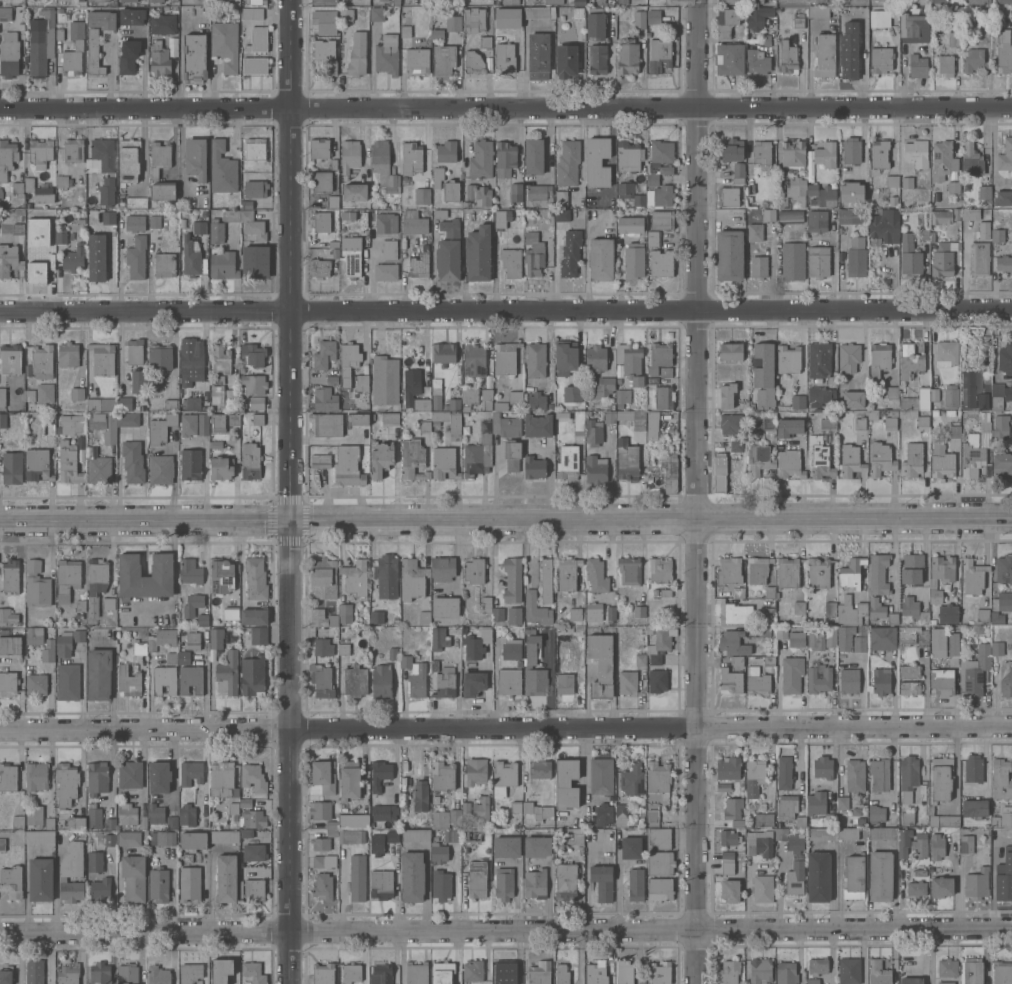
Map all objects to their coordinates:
building: (98, 0)
building: (127, 0)
building: (173, 0)
building: (383, 0)
building: (530, 0)
building: (157, 1)
building: (553, 1)
building: (729, 1)
building: (754, 1)
building: (813, 1)
building: (949, 1)
building: (1005, 1)
building: (233, 2)
building: (257, 2)
building: (324, 2)
building: (396, 2)
building: (510, 2)
building: (599, 2)
building: (622, 2)
building: (889, 2)
building: (916, 2)
building: (979, 2)
building: (60, 10)
building: (536, 12)
building: (577, 12)
building: (818, 12)
building: (895, 12)
building: (251, 13)
building: (5, 14)
building: (376, 14)
building: (507, 14)
building: (346, 15)
building: (131, 16)
building: (324, 16)
building: (982, 16)
building: (653, 17)
building: (755, 17)
building: (101, 19)
building: (473, 19)
building: (880, 19)
building: (639, 20)
building: (726, 22)
building: (798, 23)
building: (860, 23)
building: (163, 24)
building: (453, 24)
building: (595, 25)
building: (914, 25)
building: (33, 27)
building: (405, 31)
building: (59, 34)
building: (437, 34)
building: (769, 39)
building: (953, 39)
building: (257, 40)
building: (485, 42)
building: (78, 45)
building: (224, 45)
building: (41, 46)
building: (1004, 51)
building: (94, 53)
building: (9, 54)
building: (357, 55)
building: (386, 55)
building: (537, 55)
building: (824, 55)
building: (325, 56)
building: (659, 56)
building: (128, 57)
building: (627, 57)
building: (852, 57)
building: (193, 58)
building: (787, 58)
building: (159, 59)
building: (504, 59)
building: (597, 59)
building: (730, 59)
building: (880, 60)
building: (975, 60)
building: (417, 61)
building: (443, 61)
building: (566, 61)
building: (473, 63)
building: (756, 63)
building: (946, 65)
building: (254, 66)
building: (918, 66)
road: (506, 110)
building: (254, 149)
building: (319, 149)
building: (72, 150)
building: (732, 150)
building: (851, 150)
building: (761, 151)
building: (447, 152)
building: (661, 152)
building: (40, 153)
building: (103, 153)
building: (916, 153)
building: (793, 154)
building: (880, 154)
building: (825, 155)
building: (1005, 155)
building: (350, 156)
building: (534, 156)
building: (159, 157)
building: (629, 157)
building: (6, 158)
building: (195, 158)
building: (411, 159)
building: (505, 159)
building: (971, 159)
building: (127, 160)
building: (481, 160)
building: (942, 160)
building: (597, 162)
building: (334, 164)
building: (384, 166)
building: (246, 167)
building: (221, 169)
building: (666, 170)
building: (738, 170)
building: (566, 171)
building: (437, 177)
building: (653, 180)
building: (738, 180)
building: (62, 181)
building: (892, 181)
building: (905, 181)
building: (322, 182)
building: (29, 185)
building: (17, 187)
building: (954, 187)
building: (255, 188)
building: (780, 190)
building: (107, 191)
building: (451, 191)
building: (797, 191)
building: (162, 192)
building: (355, 192)
building: (516, 192)
building: (851, 193)
building: (985, 193)
building: (43, 194)
building: (630, 194)
building: (479, 195)
building: (540, 195)
building: (422, 196)
building: (663, 196)
building: (822, 196)
building: (729, 197)
building: (1002, 197)
building: (4, 200)
building: (893, 201)
building: (135, 202)
building: (332, 202)
building: (782, 203)
building: (28, 204)
building: (246, 204)
building: (28, 212)
building: (203, 214)
building: (440, 214)
building: (956, 214)
building: (970, 214)
building: (561, 215)
building: (768, 215)
building: (790, 216)
building: (941, 216)
building: (48, 217)
building: (108, 217)
building: (849, 217)
building: (987, 217)
building: (185, 218)
building: (502, 219)
building: (662, 220)
building: (154, 221)
building: (321, 222)
building: (135, 223)
building: (220, 223)
building: (386, 223)
building: (413, 223)
building: (817, 224)
building: (252, 225)
building: (630, 225)
building: (885, 226)
building: (198, 227)
building: (18, 228)
building: (984, 229)
building: (755, 233)
building: (923, 233)
building: (998, 235)
building: (61, 236)
building: (653, 239)
building: (333, 244)
building: (389, 249)
building: (449, 251)
building: (335, 254)
building: (478, 254)
building: (570, 254)
building: (533, 255)
building: (730, 256)
building: (910, 256)
building: (97, 257)
building: (136, 257)
building: (856, 257)
building: (192, 258)
building: (944, 258)
building: (980, 258)
building: (601, 259)
building: (9, 260)
building: (36, 260)
building: (73, 260)
building: (633, 261)
building: (792, 261)
building: (254, 262)
building: (511, 262)
building: (818, 262)
building: (420, 263)
building: (1004, 263)
building: (222, 264)
building: (352, 264)
building: (661, 264)
building: (164, 265)
building: (759, 268)
building: (319, 269)
building: (385, 272)
road: (506, 310)
building: (731, 351)
building: (135, 352)
building: (443, 353)
building: (947, 353)
building: (253, 354)
building: (323, 354)
building: (68, 355)
building: (565, 356)
building: (659, 356)
building: (160, 358)
building: (505, 358)
building: (849, 358)
building: (880, 358)
building: (1006, 358)
building: (10, 359)
building: (103, 359)
building: (220, 359)
building: (535, 359)
building: (788, 359)
building: (191, 360)
building: (474, 360)
building: (595, 360)
building: (819, 360)
building: (909, 360)
building: (42, 361)
building: (348, 361)
building: (630, 362)
building: (242, 370)
building: (665, 372)
building: (763, 375)
building: (332, 379)
building: (217, 380)
building: (385, 380)
building: (618, 380)
building: (652, 380)
building: (411, 381)
building: (136, 382)
building: (362, 382)
building: (252, 384)
building: (602, 387)
building: (975, 391)
building: (892, 392)
building: (45, 393)
building: (78, 393)
building: (571, 393)
building: (470, 394)
building: (30, 395)
building: (216, 395)
building: (623, 395)
building: (727, 395)
building: (935, 395)
building: (1008, 395)
building: (820, 396)
building: (997, 396)
building: (2, 397)
building: (515, 397)
building: (664, 397)
building: (951, 397)
building: (231, 398)
building: (436, 398)
building: (486, 398)
building: (324, 399)
building: (853, 399)
building: (922, 399)
building: (536, 401)
building: (192, 402)
building: (798, 402)
building: (125, 403)
building: (256, 403)
building: (102, 404)
building: (421, 404)
building: (452, 404)
building: (170, 405)
building: (500, 406)
building: (373, 408)
building: (392, 408)
building: (588, 413)
building: (894, 413)
building: (935, 413)
building: (953, 413)
building: (872, 414)
building: (609, 416)
building: (377, 417)
building: (358, 418)
building: (390, 418)
building: (633, 418)
building: (128, 419)
building: (233, 419)
building: (256, 419)
building: (3, 420)
building: (98, 421)
building: (49, 422)
building: (74, 422)
building: (217, 422)
building: (578, 422)
building: (765, 422)
building: (922, 422)
building: (731, 423)
building: (828, 423)
building: (202, 424)
building: (325, 424)
building: (506, 424)
building: (859, 424)
building: (890, 424)
building: (187, 425)
building: (537, 425)
building: (652, 425)
building: (424, 426)
building: (789, 427)
building: (1001, 427)
building: (160, 428)
building: (110, 429)
building: (59, 430)
building: (985, 430)
building: (455, 432)
building: (593, 432)
building: (954, 432)
building: (81, 442)
building: (215, 445)
building: (736, 446)
building: (666, 448)
building: (478, 452)
building: (511, 454)
building: (820, 458)
building: (380, 459)
building: (412, 459)
building: (626, 459)
building: (759, 459)
building: (881, 459)
building: (320, 460)
building: (913, 460)
building: (249, 461)
building: (850, 461)
building: (942, 461)
building: (974, 461)
building: (68, 462)
building: (132, 462)
building: (443, 462)
building: (567, 463)
building: (37, 464)
building: (189, 464)
building: (789, 464)
building: (1002, 464)
building: (348, 465)
road: (289, 466)
building: (533, 467)
building: (12, 468)
building: (220, 468)
building: (595, 468)
building: (160, 469)
building: (99, 470)
building: (669, 471)
building: (720, 472)
road: (174, 474)
road: (697, 491)
road: (505, 519)
building: (442, 568)
building: (943, 568)
building: (912, 569)
building: (1004, 569)
building: (758, 570)
building: (189, 571)
building: (473, 571)
building: (628, 571)
building: (660, 571)
building: (729, 571)
building: (567, 573)
building: (788, 573)
building: (818, 573)
building: (851, 574)
building: (11, 575)
building: (878, 575)
building: (97, 576)
building: (145, 576)
building: (222, 576)
building: (596, 576)
building: (386, 577)
building: (973, 577)
building: (255, 578)
building: (354, 578)
building: (67, 579)
building: (323, 579)
building: (412, 579)
building: (511, 580)
building: (545, 580)
building: (36, 585)
building: (768, 591)
building: (662, 592)
building: (738, 593)
building: (935, 593)
building: (1002, 602)
building: (109, 603)
building: (485, 604)
building: (191, 605)
building: (80, 606)
building: (445, 608)
building: (798, 608)
building: (536, 609)
building: (830, 610)
building: (876, 610)
building: (594, 611)
building: (638, 611)
building: (913, 611)
building: (345, 612)
building: (850, 612)
building: (230, 613)
building: (610, 613)
building: (498, 614)
building: (735, 614)
building: (948, 614)
building: (574, 615)
building: (983, 615)
building: (253, 616)
building: (513, 616)
building: (7, 617)
building: (376, 617)
building: (321, 618)
building: (423, 618)
building: (892, 618)
building: (997, 618)
building: (202, 620)
building: (648, 629)
building: (981, 629)
building: (529, 631)
building: (560, 631)
building: (672, 631)
building: (764, 632)
building: (332, 633)
building: (781, 633)
building: (34, 635)
building: (257, 635)
building: (79, 636)
building: (913, 636)
building: (830, 637)
building: (161, 638)
building: (215, 638)
building: (844, 638)
building: (438, 639)
building: (797, 639)
building: (882, 639)
building: (192, 641)
building: (815, 641)
building: (733, 643)
building: (64, 644)
building: (953, 644)
building: (859, 645)
building: (659, 646)
building: (10, 647)
building: (139, 647)
building: (322, 647)
building: (472, 648)
building: (344, 649)
building: (997, 649)
building: (510, 650)
building: (48, 651)
building: (392, 654)
building: (576, 656)
building: (171, 658)
building: (182, 658)
building: (639, 660)
building: (768, 661)
building: (737, 662)
building: (519, 663)
building: (600, 665)
building: (434, 666)
building: (533, 670)
building: (975, 671)
building: (909, 672)
building: (98, 674)
building: (791, 675)
building: (226, 676)
building: (252, 676)
building: (414, 676)
building: (819, 679)
building: (1006, 679)
building: (163, 680)
building: (190, 680)
building: (128, 681)
building: (321, 681)
building: (354, 681)
building: (656, 681)
building: (849, 681)
building: (881, 681)
building: (68, 682)
building: (380, 682)
building: (444, 682)
building: (507, 682)
building: (626, 682)
building: (730, 682)
building: (757, 682)
building: (942, 682)
building: (472, 683)
building: (564, 683)
building: (8, 684)
building: (36, 684)
building: (909, 688)
road: (505, 729)
building: (728, 768)
building: (823, 768)
building: (974, 768)
building: (540, 770)
building: (475, 771)
building: (190, 773)
building: (784, 773)
building: (131, 774)
building: (380, 775)
building: (880, 775)
building: (8, 776)
building: (323, 776)
building: (442, 776)
building: (855, 776)
building: (37, 777)
building: (159, 777)
building: (253, 777)
building: (601, 777)
building: (657, 777)
building: (755, 777)
building: (909, 777)
building: (98, 778)
building: (503, 778)
building: (942, 778)
building: (1001, 778)
building: (222, 780)
building: (349, 780)
building: (632, 780)
building: (67, 783)
building: (566, 784)
building: (724, 787)
building: (922, 792)
building: (420, 796)
building: (403, 800)
building: (816, 802)
building: (245, 803)
building: (842, 803)
building: (787, 806)
building: (232, 807)
building: (465, 807)
building: (480, 807)
building: (516, 807)
building: (733, 808)
building: (975, 808)
building: (319, 810)
building: (538, 811)
building: (384, 812)
building: (155, 813)
building: (128, 814)
building: (875, 814)
building: (95, 815)
building: (185, 815)
building: (603, 815)
building: (35, 816)
building: (455, 816)
building: (621, 816)
building: (652, 817)
building: (908, 818)
building: (1003, 818)
building: (252, 819)
building: (439, 819)
building: (764, 819)
building: (942, 819)
building: (354, 820)
building: (830, 820)
building: (801, 821)
building: (17, 822)
building: (76, 822)
building: (143, 822)
building: (171, 822)
building: (50, 823)
building: (737, 823)
building: (110, 824)
building: (235, 824)
building: (330, 824)
building: (331, 833)
building: (781, 833)
building: (883, 833)
building: (246, 834)
building: (822, 834)
building: (848, 834)
building: (415, 835)
building: (470, 835)
building: (351, 836)
building: (392, 836)
building: (452, 836)
building: (573, 836)
building: (40, 837)
building: (223, 837)
building: (129, 838)
building: (162, 838)
building: (434, 838)
building: (659, 838)
building: (731, 838)
building: (110, 840)
building: (192, 841)
building: (903, 842)
building: (795, 843)
building: (320, 844)
building: (759, 844)
building: (967, 844)
building: (2, 845)
building: (377, 845)
building: (918, 846)
building: (506, 847)
building: (536, 847)
building: (938, 847)
building: (630, 848)
building: (254, 852)
building: (438, 853)
building: (188, 858)
building: (71, 861)
building: (324, 861)
building: (95, 862)
building: (727, 863)
building: (660, 864)
building: (919, 870)
building: (819, 876)
building: (134, 877)
building: (412, 877)
building: (880, 877)
building: (357, 878)
building: (795, 878)
building: (854, 878)
building: (41, 879)
building: (225, 879)
building: (477, 879)
building: (12, 881)
building: (1002, 881)
building: (565, 882)
building: (602, 882)
building: (504, 883)
building: (189, 884)
building: (535, 884)
building: (976, 884)
building: (159, 885)
building: (381, 885)
building: (635, 885)
building: (441, 886)
building: (322, 887)
building: (942, 887)
building: (100, 888)
building: (660, 889)
building: (763, 889)
building: (916, 889)
building: (252, 890)
building: (71, 891)
building: (731, 891)
road: (506, 931)
road: (289, 958)
building: (817, 966)
building: (948, 968)
building: (220, 970)
building: (473, 970)
building: (34, 971)
building: (760, 971)
building: (849, 971)
building: (973, 971)
building: (253, 972)
building: (442, 972)
building: (505, 972)
building: (624, 972)
building: (728, 972)
building: (100, 973)
building: (128, 973)
building: (190, 973)
building: (351, 973)
building: (383, 973)
building: (416, 973)
building: (539, 973)
building: (659, 973)
building: (786, 973)
building: (878, 973)
building: (1002, 973)
building: (69, 974)
building: (322, 974)
building: (562, 974)
building: (595, 974)
building: (158, 975)
building: (6, 976)
building: (911, 980)
building: (812, 981)
building: (947, 983)

